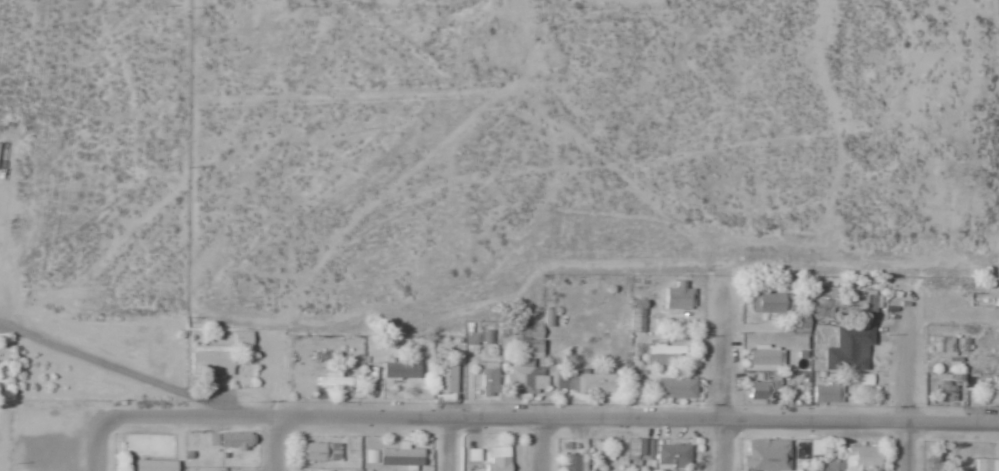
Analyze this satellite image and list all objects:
building: (679, 296)
building: (773, 302)
building: (865, 303)
building: (827, 308)
building: (242, 339)
building: (944, 346)
building: (4, 349)
building: (666, 353)
building: (763, 357)
building: (211, 360)
building: (528, 362)
building: (401, 369)
road: (723, 375)
road: (908, 376)
building: (445, 378)
building: (490, 378)
building: (866, 379)
building: (303, 381)
building: (333, 381)
building: (587, 382)
building: (676, 388)
building: (991, 388)
building: (757, 389)
building: (828, 391)
road: (275, 402)
road: (550, 418)
building: (235, 440)
road: (450, 444)
road: (541, 444)
road: (97, 446)
building: (816, 446)
building: (320, 452)
building: (639, 452)
building: (673, 455)
building: (767, 455)
building: (401, 457)
building: (858, 458)
building: (500, 459)
building: (575, 462)
building: (986, 464)
building: (154, 465)

